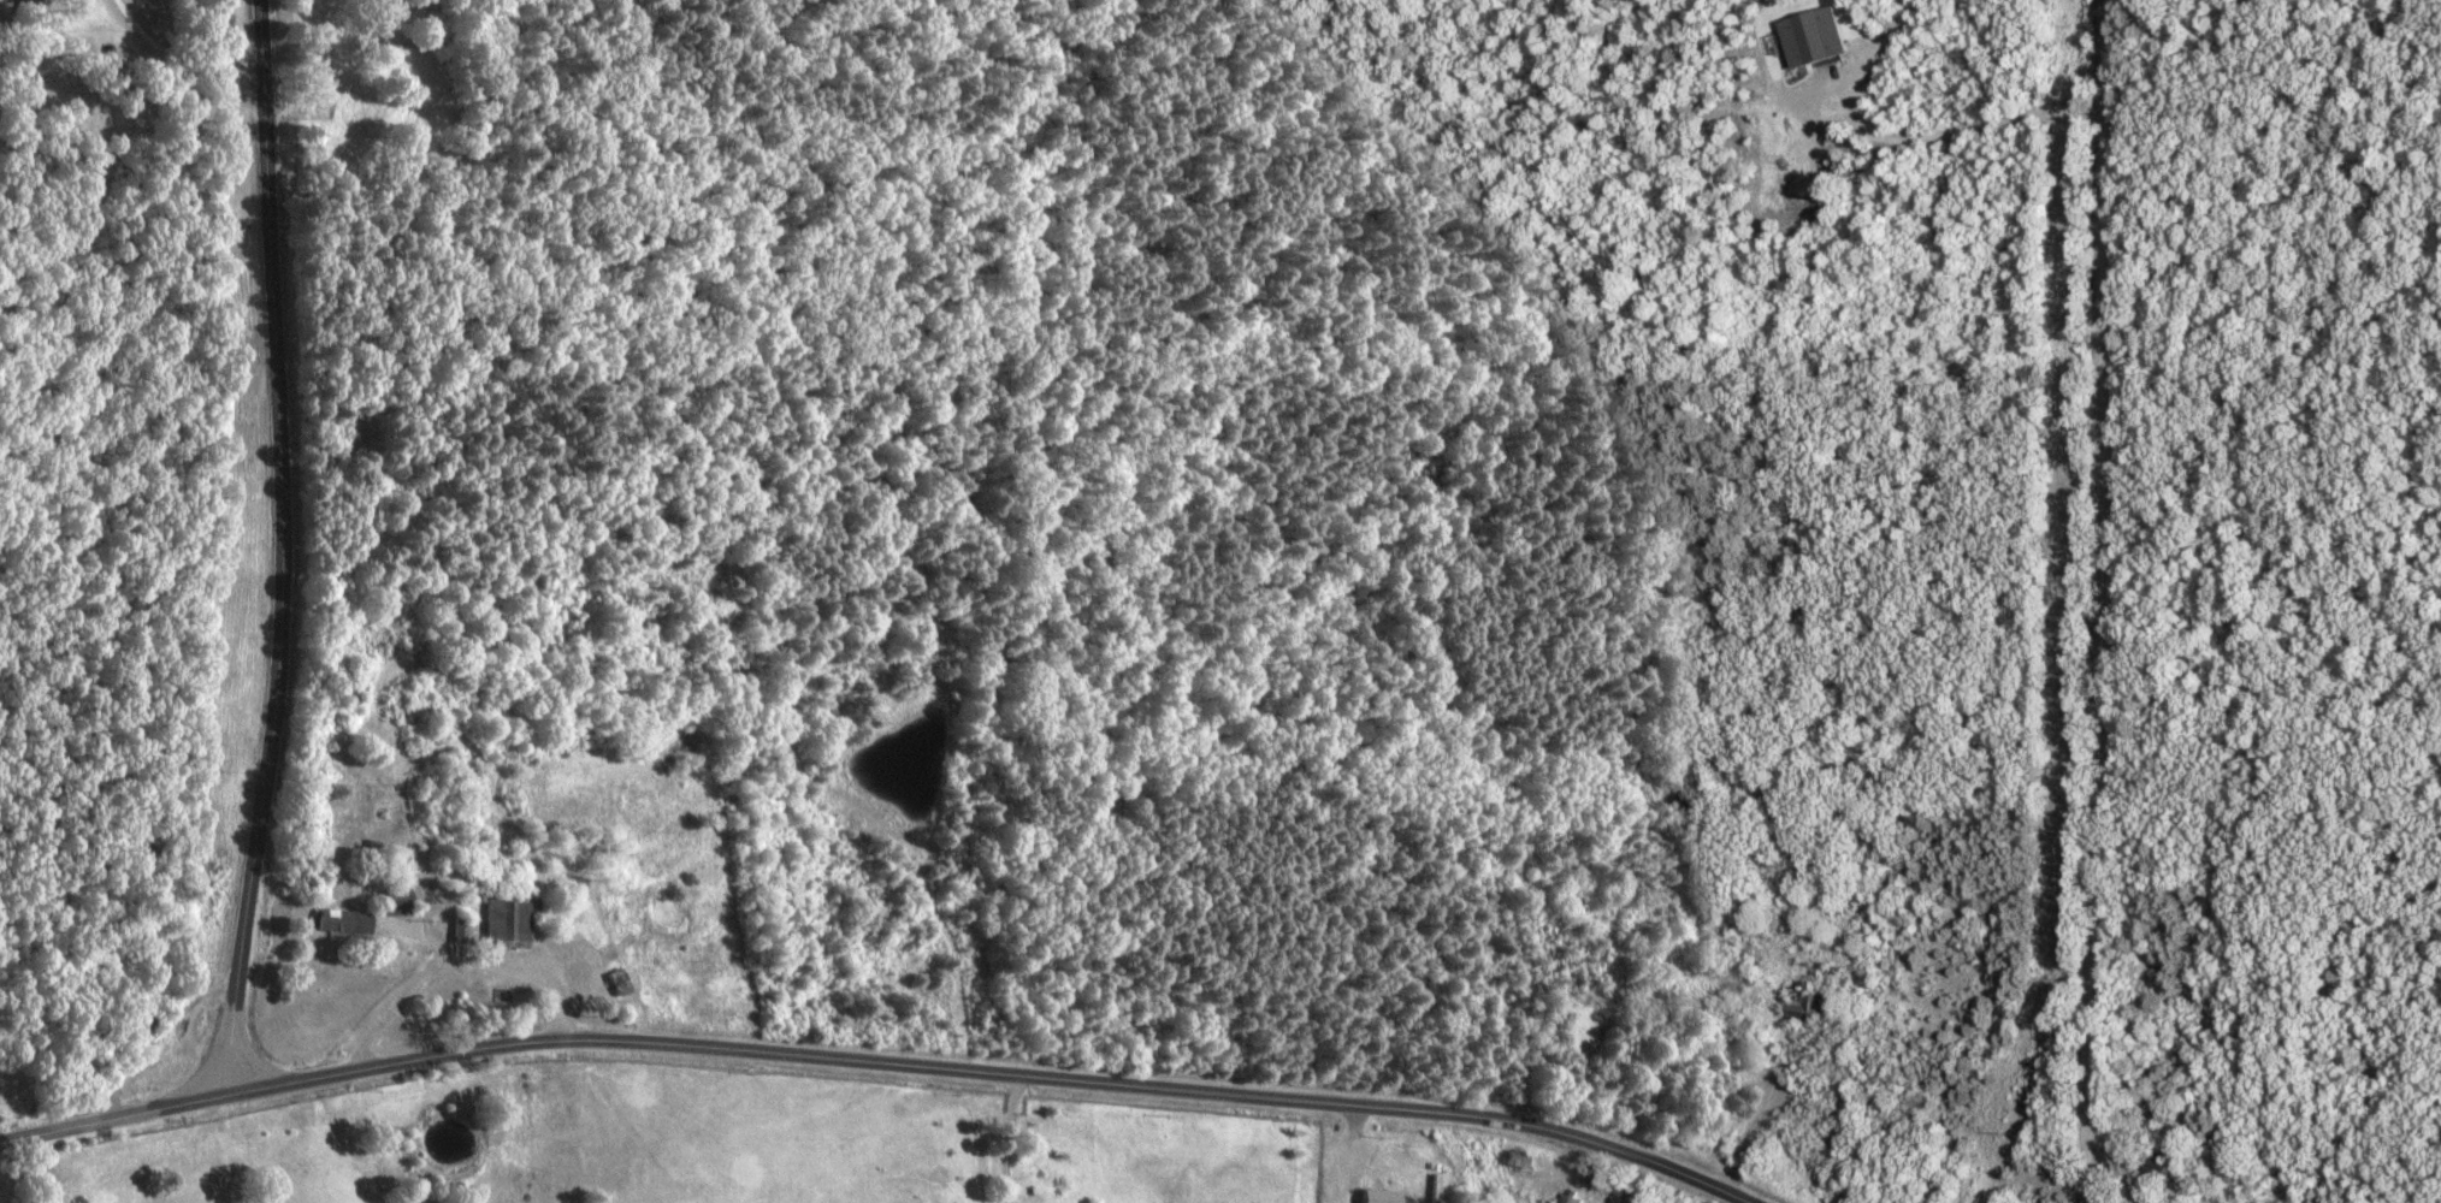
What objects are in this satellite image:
building: (1803, 40)
road: (280, 551)
road: (2087, 601)
building: (385, 902)
building: (337, 925)
road: (2309, 986)
building: (1793, 1013)
road: (870, 1065)
building: (1509, 1162)
building: (2145, 1171)
building: (1371, 1198)
building: (1561, 1201)

